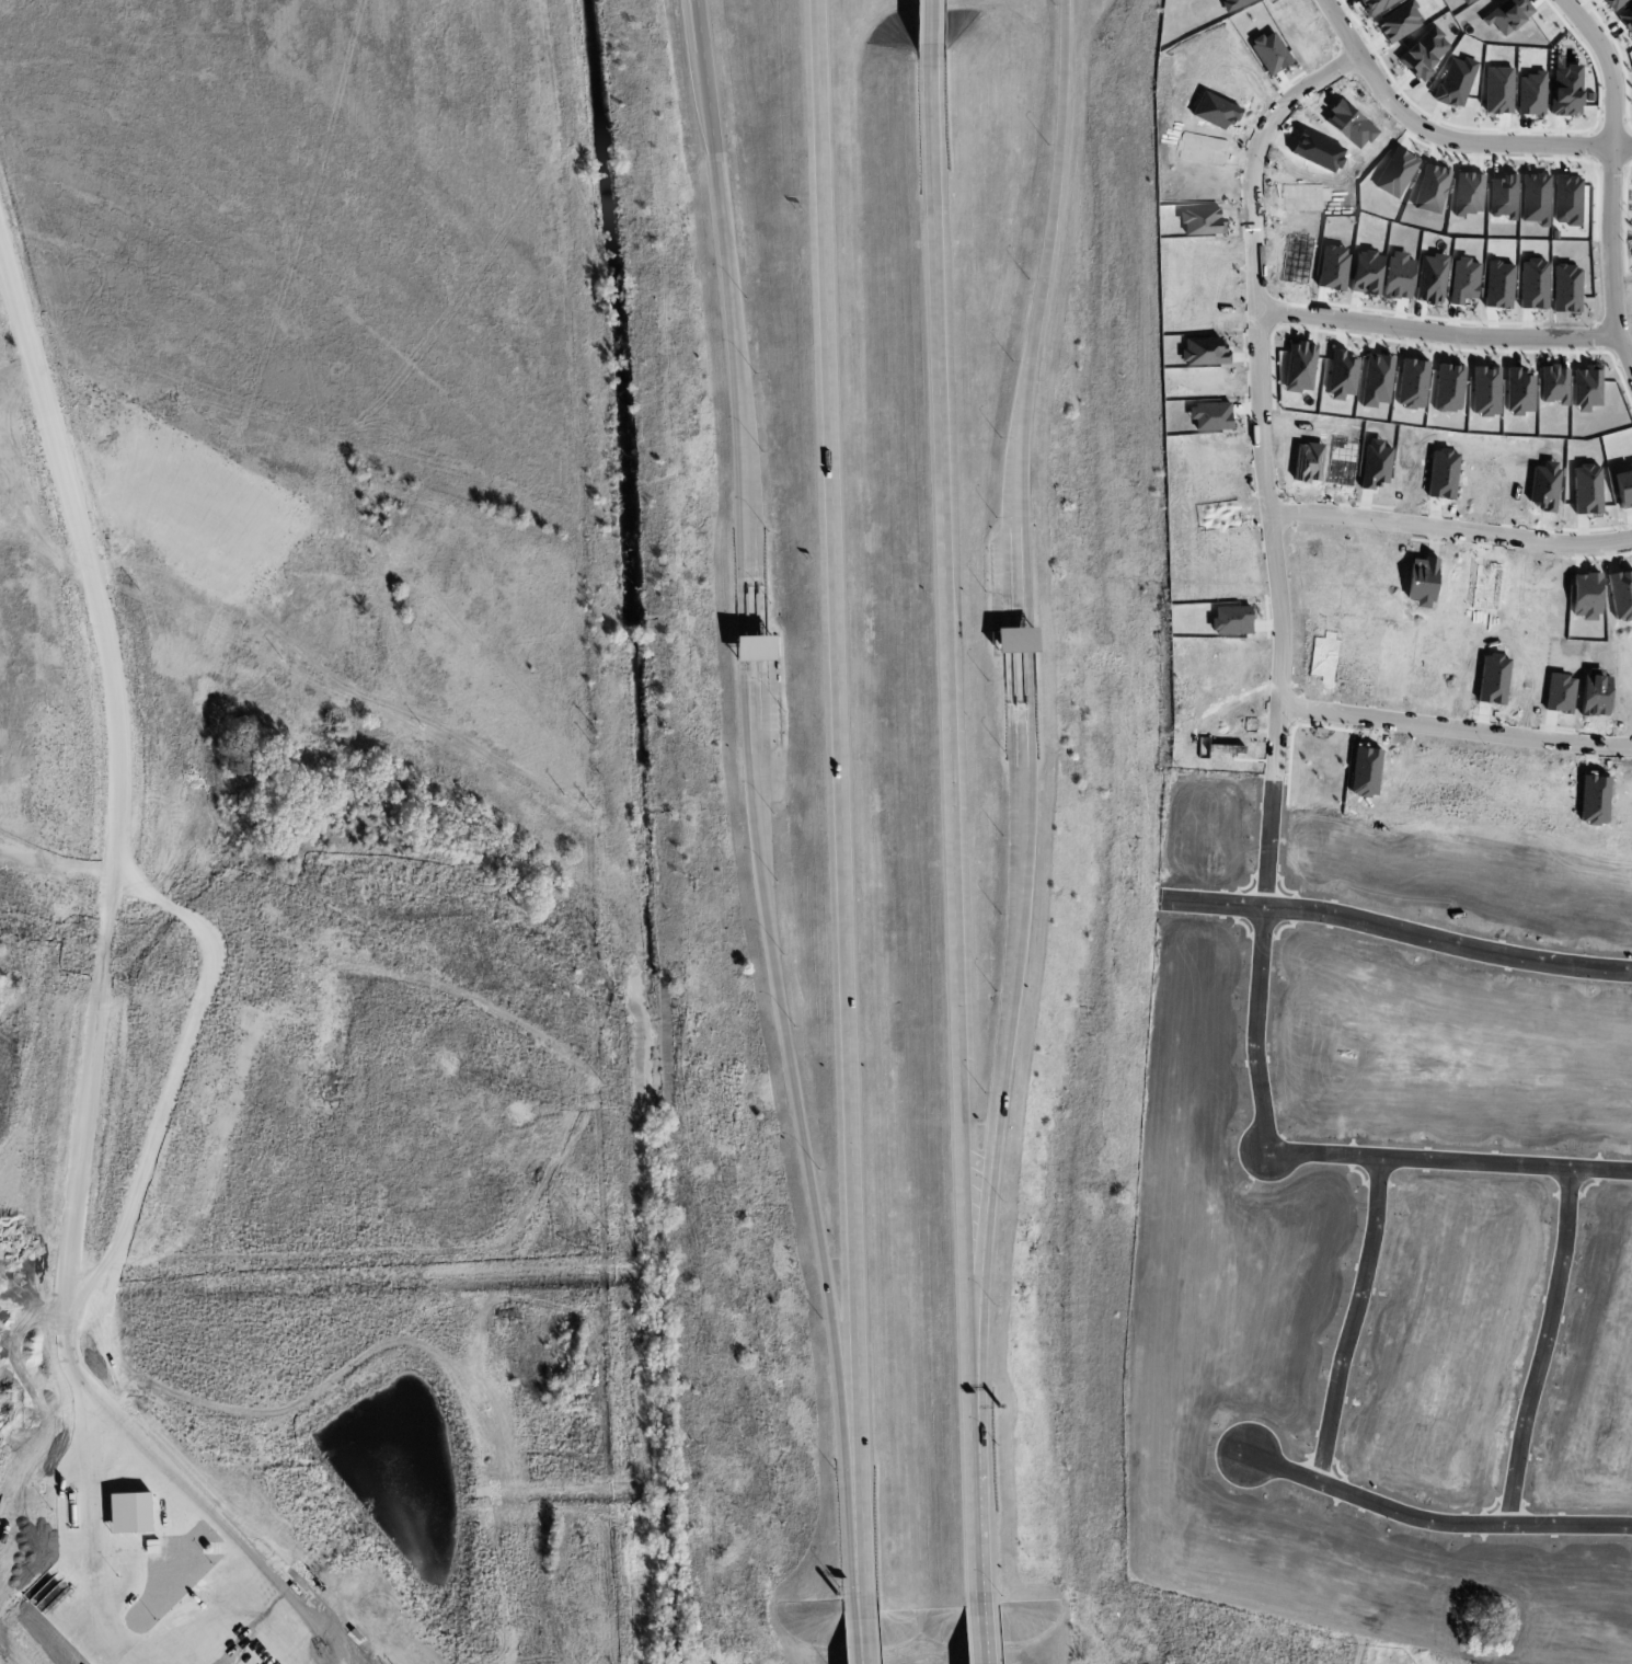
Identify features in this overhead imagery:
building: (1614, 3)
road: (704, 76)
road: (1447, 135)
road: (1611, 175)
road: (1036, 312)
road: (1438, 335)
road: (736, 366)
road: (1451, 532)
road: (1278, 582)
road: (740, 608)
building: (1015, 639)
road: (1028, 639)
road: (742, 647)
building: (755, 647)
road: (945, 674)
road: (1028, 708)
road: (1455, 728)
road: (749, 746)
road: (837, 796)
road: (117, 819)
road: (1399, 929)
road: (1004, 1055)
road: (1449, 1163)
road: (814, 1212)
road: (1352, 1324)
road: (1543, 1351)
road: (975, 1474)
road: (1432, 1528)
road: (858, 1629)
road: (978, 1632)

